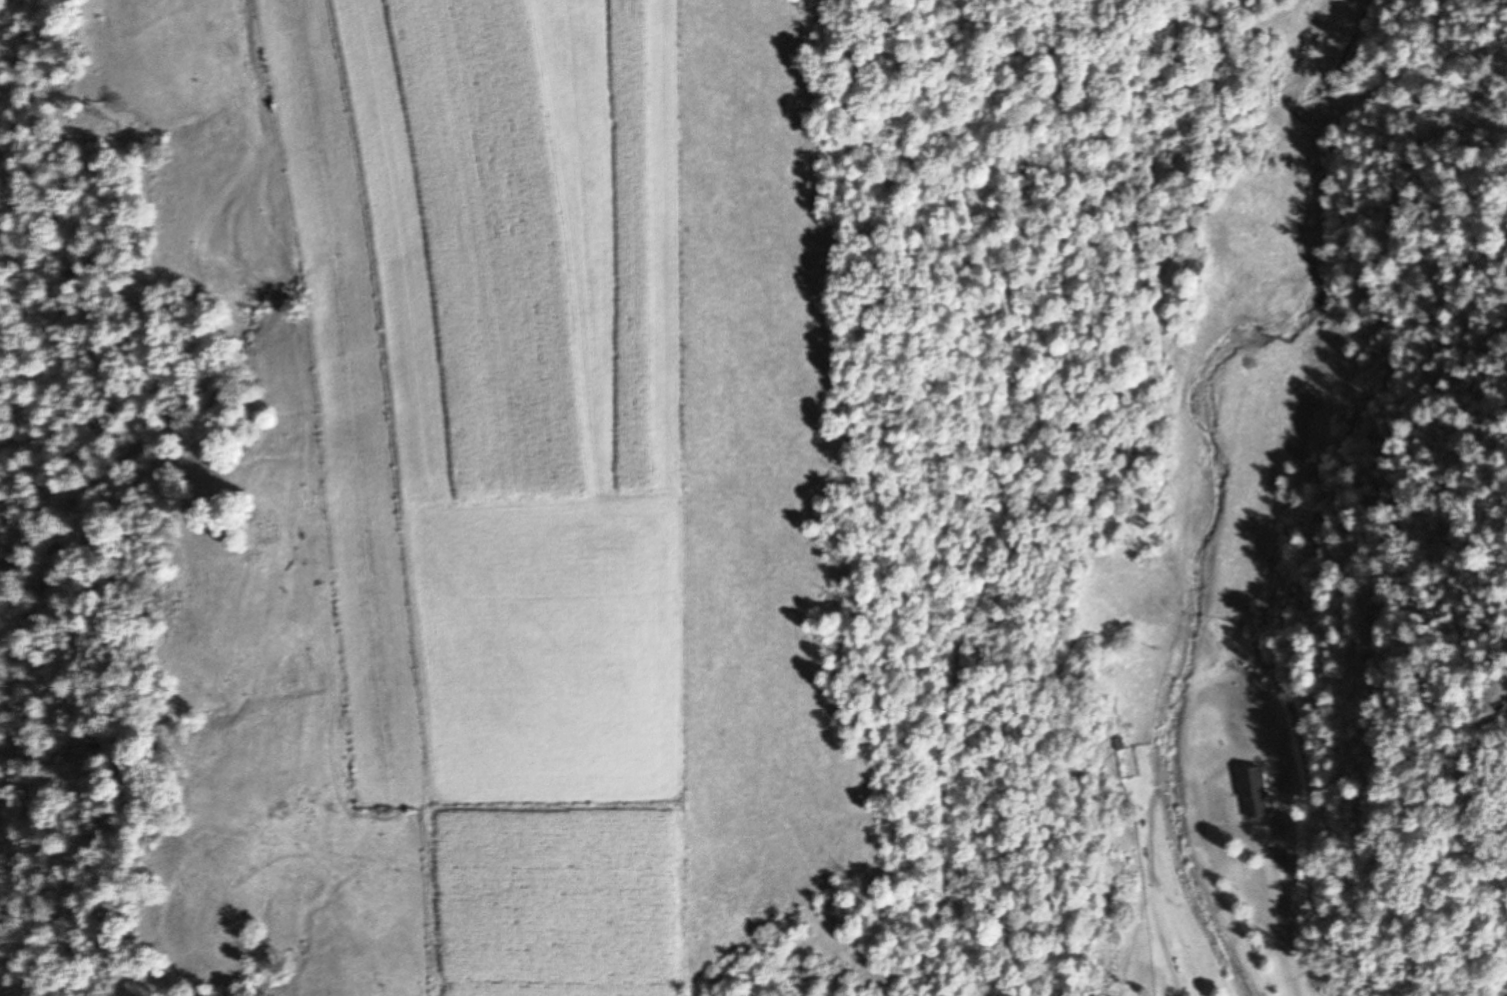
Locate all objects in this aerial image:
building: (1252, 793)

